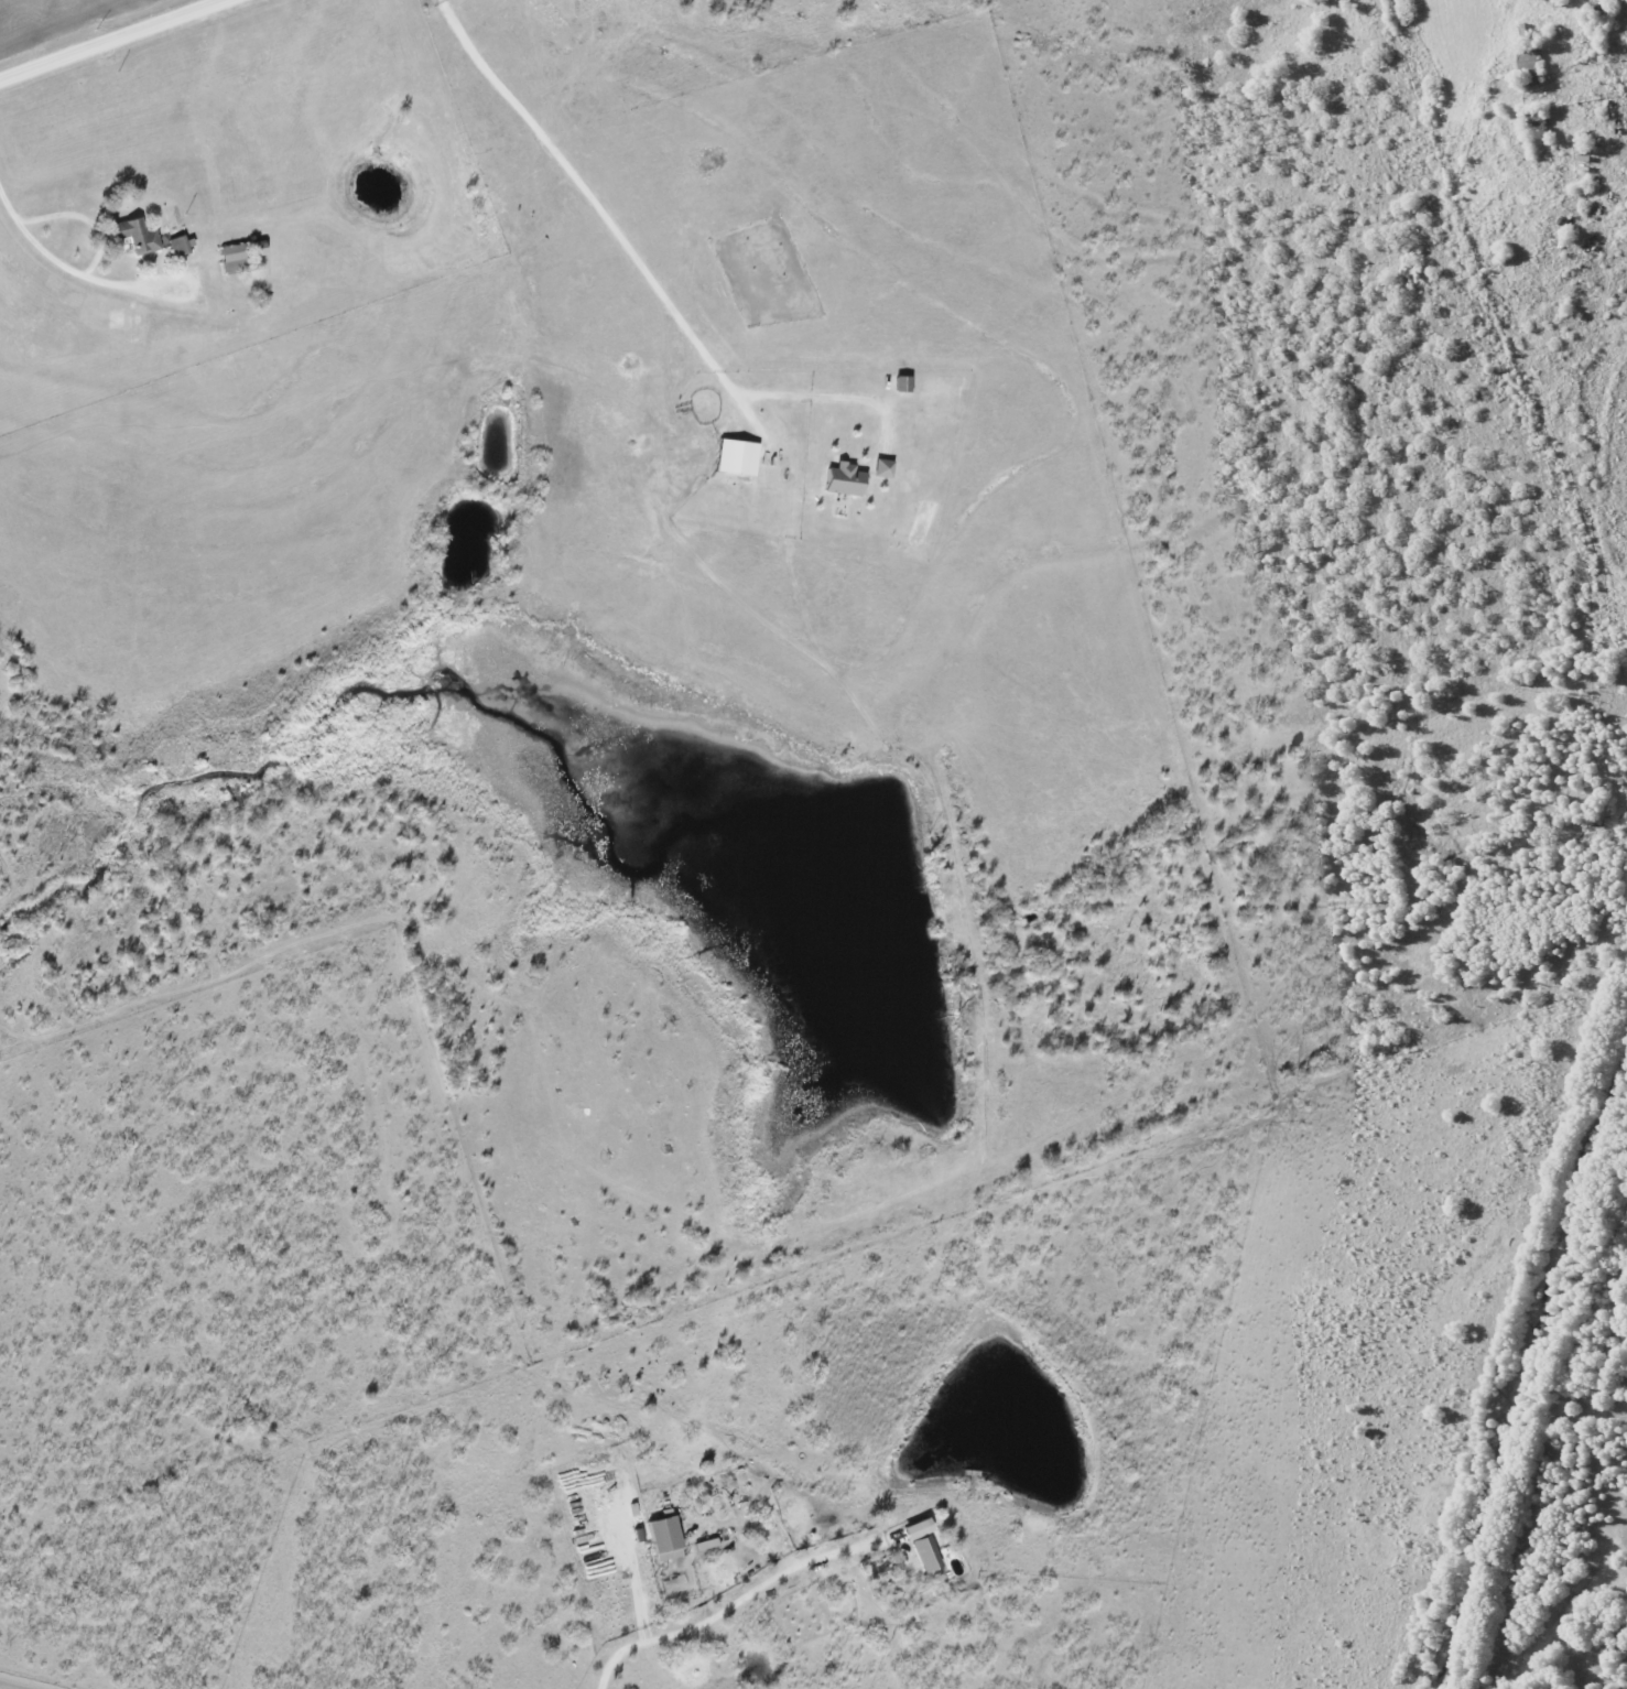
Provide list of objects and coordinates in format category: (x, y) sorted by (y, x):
road: (111, 40)
road: (91, 215)
building: (138, 235)
building: (180, 246)
road: (628, 250)
road: (52, 251)
building: (236, 258)
building: (903, 383)
building: (738, 457)
building: (885, 468)
building: (846, 479)
building: (920, 1529)
building: (668, 1538)
building: (928, 1553)
road: (730, 1606)

